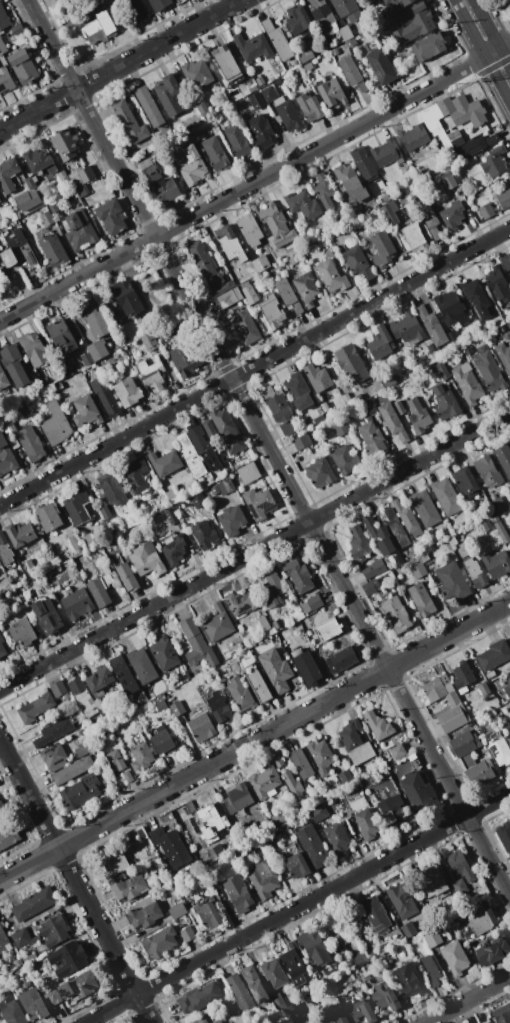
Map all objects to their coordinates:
building: (307, 0)
building: (508, 1)
building: (107, 2)
building: (396, 3)
building: (159, 4)
building: (347, 9)
building: (136, 10)
building: (3, 17)
building: (324, 17)
building: (298, 20)
building: (414, 23)
building: (97, 27)
building: (17, 28)
building: (346, 33)
road: (492, 33)
building: (278, 39)
road: (505, 45)
building: (2, 46)
building: (253, 46)
building: (429, 46)
building: (335, 51)
road: (482, 51)
road: (492, 52)
building: (306, 55)
building: (226, 61)
road: (120, 64)
building: (381, 65)
building: (308, 66)
building: (24, 68)
building: (197, 72)
building: (352, 73)
building: (5, 81)
building: (260, 81)
building: (279, 82)
building: (252, 89)
building: (278, 91)
building: (332, 92)
building: (169, 94)
building: (268, 94)
building: (256, 98)
building: (279, 100)
building: (149, 106)
building: (310, 106)
building: (202, 107)
building: (289, 115)
building: (452, 115)
building: (130, 122)
building: (261, 131)
building: (414, 137)
building: (238, 141)
building: (66, 144)
building: (475, 146)
building: (132, 152)
building: (387, 152)
building: (215, 154)
building: (37, 160)
building: (495, 162)
building: (364, 163)
building: (193, 166)
building: (149, 170)
building: (8, 174)
building: (81, 176)
building: (425, 177)
building: (458, 177)
building: (64, 178)
building: (31, 181)
building: (449, 181)
building: (505, 181)
building: (351, 182)
road: (242, 187)
building: (82, 190)
building: (166, 190)
building: (324, 191)
building: (36, 197)
building: (409, 197)
building: (504, 198)
building: (0, 199)
building: (388, 199)
building: (26, 200)
building: (303, 204)
building: (53, 206)
building: (487, 210)
building: (354, 211)
building: (453, 215)
building: (111, 216)
building: (396, 217)
building: (47, 218)
building: (274, 219)
building: (430, 220)
building: (1, 224)
building: (357, 227)
building: (79, 229)
building: (250, 229)
building: (413, 235)
building: (230, 243)
building: (52, 250)
building: (382, 250)
building: (23, 251)
building: (8, 257)
building: (292, 260)
building: (506, 261)
building: (259, 263)
building: (358, 263)
building: (206, 264)
building: (332, 276)
building: (498, 284)
building: (223, 287)
building: (307, 288)
building: (248, 292)
building: (288, 295)
building: (127, 298)
building: (229, 298)
building: (476, 298)
building: (451, 307)
building: (272, 312)
building: (95, 319)
building: (509, 322)
building: (432, 325)
building: (175, 328)
building: (247, 328)
building: (407, 328)
building: (62, 337)
building: (453, 337)
building: (149, 340)
building: (380, 343)
building: (430, 347)
building: (35, 349)
building: (94, 351)
building: (504, 356)
building: (185, 359)
building: (14, 364)
building: (351, 364)
road: (254, 366)
building: (440, 369)
building: (489, 370)
building: (152, 374)
building: (317, 377)
building: (389, 380)
building: (4, 382)
building: (468, 384)
building: (128, 391)
building: (298, 391)
building: (105, 396)
building: (445, 402)
building: (277, 404)
building: (400, 407)
building: (367, 408)
building: (86, 412)
building: (418, 415)
building: (319, 419)
building: (392, 420)
building: (56, 425)
building: (289, 427)
building: (340, 427)
building: (209, 428)
building: (228, 430)
building: (372, 439)
building: (301, 441)
building: (509, 442)
building: (31, 443)
building: (15, 444)
building: (202, 446)
road: (268, 448)
building: (189, 456)
building: (6, 457)
building: (504, 457)
building: (343, 458)
building: (165, 462)
building: (230, 464)
building: (320, 472)
building: (488, 472)
building: (249, 473)
building: (136, 475)
building: (465, 482)
building: (228, 484)
building: (112, 489)
building: (214, 491)
building: (446, 495)
building: (172, 496)
building: (199, 500)
building: (261, 504)
building: (496, 504)
building: (178, 506)
building: (77, 507)
building: (425, 508)
building: (144, 511)
building: (105, 512)
building: (390, 514)
building: (49, 516)
building: (171, 516)
building: (406, 517)
building: (495, 518)
building: (231, 520)
building: (181, 525)
building: (486, 525)
building: (456, 529)
building: (398, 532)
building: (502, 532)
building: (21, 533)
building: (204, 535)
building: (379, 536)
building: (87, 538)
building: (452, 541)
building: (75, 542)
building: (359, 543)
building: (6, 550)
building: (174, 550)
road: (255, 550)
building: (425, 557)
building: (146, 559)
building: (398, 560)
building: (70, 563)
building: (496, 563)
building: (30, 564)
building: (374, 568)
building: (417, 568)
building: (475, 573)
building: (298, 575)
building: (127, 577)
building: (272, 579)
building: (452, 582)
building: (100, 587)
building: (371, 587)
building: (272, 598)
building: (421, 599)
building: (314, 601)
building: (241, 602)
building: (77, 603)
building: (397, 614)
building: (47, 617)
building: (264, 622)
building: (217, 624)
building: (329, 629)
building: (22, 633)
building: (197, 645)
building: (239, 645)
building: (2, 647)
building: (252, 647)
building: (284, 650)
building: (163, 653)
building: (493, 655)
building: (341, 660)
building: (142, 665)
building: (235, 665)
building: (307, 668)
building: (275, 670)
building: (124, 674)
building: (490, 675)
building: (462, 676)
building: (99, 680)
building: (260, 687)
building: (506, 687)
building: (59, 689)
building: (484, 689)
building: (241, 694)
building: (150, 696)
building: (82, 697)
building: (502, 701)
building: (455, 703)
building: (160, 705)
building: (36, 708)
building: (177, 708)
building: (219, 708)
building: (506, 715)
building: (474, 722)
building: (377, 724)
building: (201, 727)
building: (508, 728)
building: (56, 729)
building: (163, 740)
road: (255, 740)
building: (356, 742)
building: (464, 743)
building: (83, 749)
building: (500, 749)
building: (398, 752)
building: (141, 754)
building: (320, 756)
building: (54, 757)
building: (116, 760)
building: (277, 760)
building: (301, 764)
building: (73, 770)
building: (477, 770)
building: (345, 774)
building: (127, 775)
building: (265, 780)
building: (294, 785)
building: (417, 790)
building: (80, 792)
building: (237, 798)
building: (190, 807)
building: (392, 809)
building: (2, 810)
building: (317, 812)
building: (277, 818)
building: (211, 820)
building: (366, 824)
building: (140, 832)
building: (505, 835)
building: (8, 836)
building: (336, 838)
building: (171, 846)
building: (312, 846)
building: (295, 862)
building: (115, 864)
road: (68, 868)
building: (462, 874)
building: (264, 878)
building: (430, 881)
building: (215, 885)
building: (129, 887)
building: (238, 893)
road: (323, 893)
building: (403, 899)
building: (34, 903)
building: (177, 911)
building: (144, 913)
building: (375, 914)
building: (207, 916)
building: (481, 918)
building: (409, 930)
building: (54, 931)
building: (187, 934)
building: (21, 937)
building: (433, 938)
building: (4, 941)
building: (160, 942)
building: (314, 947)
building: (492, 951)
building: (456, 957)
building: (68, 958)
building: (360, 958)
building: (28, 959)
building: (18, 962)
building: (294, 964)
building: (431, 970)
building: (274, 974)
building: (408, 980)
building: (27, 983)
building: (255, 983)
building: (79, 987)
building: (240, 991)
building: (381, 993)
building: (53, 997)
building: (199, 997)
road: (467, 999)
building: (278, 1001)
building: (33, 1004)
road: (111, 1009)
road: (144, 1009)
building: (295, 1009)
building: (362, 1012)
building: (13, 1013)
building: (502, 1014)
building: (336, 1018)
building: (201, 1020)
building: (239, 1020)
building: (217, 1021)
building: (313, 1022)
building: (489, 1022)

